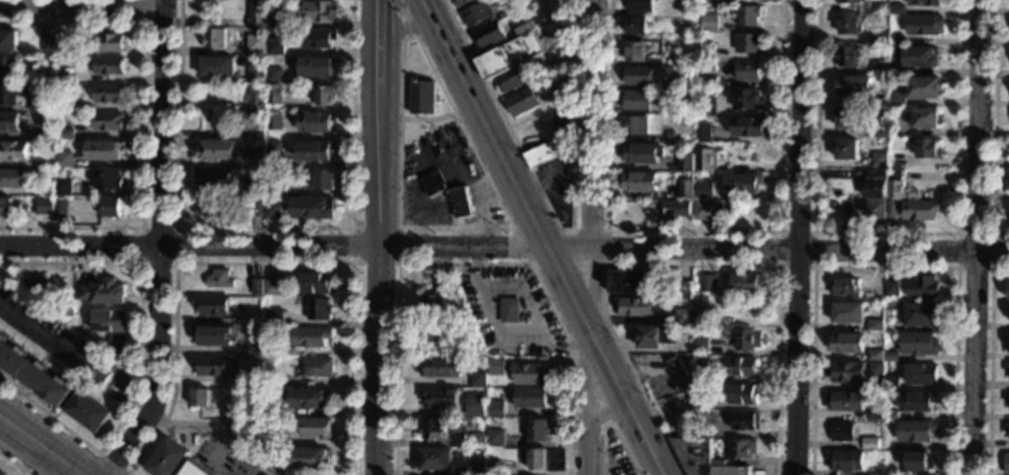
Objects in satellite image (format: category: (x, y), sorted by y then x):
building: (708, 1)
building: (851, 1)
building: (461, 3)
building: (924, 3)
building: (639, 6)
road: (80, 9)
building: (880, 9)
building: (897, 10)
building: (318, 11)
road: (402, 13)
building: (478, 14)
building: (257, 15)
building: (748, 15)
building: (275, 18)
building: (709, 23)
road: (150, 24)
building: (849, 24)
road: (404, 25)
building: (687, 25)
building: (924, 25)
building: (635, 26)
road: (404, 27)
building: (683, 35)
building: (489, 36)
building: (878, 36)
building: (318, 38)
building: (214, 39)
building: (896, 40)
building: (8, 41)
building: (108, 43)
building: (750, 43)
building: (48, 44)
building: (66, 44)
building: (256, 44)
building: (275, 47)
building: (705, 51)
building: (511, 52)
building: (634, 52)
building: (895, 54)
building: (847, 57)
building: (919, 57)
building: (108, 65)
building: (8, 67)
building: (218, 67)
building: (317, 67)
building: (878, 67)
building: (748, 71)
building: (256, 73)
road: (416, 74)
building: (274, 75)
building: (637, 75)
building: (29, 78)
building: (66, 78)
building: (512, 80)
building: (682, 81)
building: (708, 82)
building: (853, 86)
building: (924, 87)
building: (562, 90)
road: (444, 92)
building: (12, 94)
building: (107, 94)
building: (274, 94)
building: (325, 96)
building: (255, 97)
building: (423, 98)
building: (748, 99)
building: (896, 99)
building: (637, 100)
building: (880, 100)
building: (523, 102)
building: (39, 103)
building: (64, 106)
building: (706, 107)
building: (682, 109)
building: (846, 118)
road: (427, 119)
building: (925, 119)
building: (107, 121)
building: (253, 121)
building: (9, 122)
building: (274, 122)
building: (315, 122)
road: (143, 124)
building: (635, 125)
road: (797, 126)
road: (990, 126)
building: (751, 127)
building: (896, 127)
building: (428, 129)
building: (560, 129)
building: (879, 132)
building: (44, 134)
building: (65, 134)
building: (703, 134)
building: (671, 136)
building: (846, 149)
building: (927, 149)
building: (105, 150)
building: (216, 150)
building: (14, 151)
building: (315, 151)
building: (274, 153)
building: (641, 153)
building: (539, 156)
building: (256, 157)
building: (63, 159)
building: (706, 159)
building: (879, 160)
building: (686, 161)
building: (47, 163)
building: (29, 164)
building: (682, 175)
building: (12, 177)
building: (214, 177)
road: (557, 177)
building: (42, 178)
building: (107, 180)
building: (322, 180)
building: (640, 181)
building: (434, 183)
building: (743, 184)
building: (875, 184)
building: (895, 185)
building: (63, 187)
building: (255, 187)
building: (46, 189)
building: (686, 189)
building: (704, 189)
building: (278, 190)
building: (838, 194)
building: (921, 196)
building: (438, 198)
building: (461, 201)
building: (833, 205)
building: (45, 206)
building: (61, 206)
building: (207, 206)
building: (6, 207)
building: (111, 207)
building: (849, 207)
building: (314, 208)
building: (257, 209)
building: (891, 209)
building: (675, 210)
building: (707, 210)
building: (873, 210)
building: (921, 210)
building: (272, 211)
road: (556, 221)
road: (263, 227)
road: (399, 227)
road: (176, 228)
road: (558, 229)
road: (693, 231)
road: (885, 233)
road: (379, 237)
road: (542, 237)
road: (976, 237)
road: (595, 238)
road: (159, 244)
road: (606, 244)
road: (504, 248)
road: (256, 262)
road: (469, 263)
road: (681, 266)
road: (813, 267)
road: (885, 267)
road: (988, 268)
building: (220, 279)
building: (444, 279)
building: (315, 283)
building: (633, 283)
building: (707, 283)
building: (745, 284)
building: (39, 287)
building: (256, 287)
building: (273, 287)
building: (845, 287)
building: (922, 287)
building: (684, 289)
building: (892, 289)
building: (1008, 290)
building: (105, 293)
building: (432, 305)
building: (212, 306)
building: (67, 307)
building: (636, 307)
building: (319, 309)
building: (509, 310)
road: (535, 311)
building: (702, 311)
building: (1008, 312)
building: (849, 313)
building: (919, 315)
building: (274, 317)
building: (682, 317)
building: (110, 321)
building: (875, 325)
building: (212, 335)
building: (434, 335)
road: (39, 337)
building: (310, 337)
building: (654, 337)
building: (746, 339)
building: (117, 342)
building: (1008, 343)
building: (848, 344)
building: (919, 344)
building: (701, 345)
building: (253, 348)
building: (269, 351)
road: (141, 352)
building: (875, 355)
building: (890, 356)
road: (987, 361)
road: (792, 364)
building: (211, 366)
building: (497, 366)
building: (744, 366)
building: (317, 367)
building: (442, 368)
building: (876, 369)
building: (1007, 369)
building: (678, 371)
building: (847, 372)
building: (699, 373)
building: (99, 374)
building: (532, 374)
building: (32, 375)
building: (921, 375)
building: (253, 377)
building: (478, 379)
building: (276, 381)
building: (77, 382)
building: (490, 383)
road: (590, 383)
building: (890, 383)
building: (743, 395)
building: (533, 397)
building: (200, 398)
building: (310, 398)
building: (440, 398)
building: (1007, 398)
building: (844, 401)
building: (917, 401)
building: (699, 402)
building: (1008, 402)
building: (270, 408)
building: (496, 408)
building: (479, 409)
building: (88, 412)
road: (606, 412)
building: (874, 414)
building: (890, 415)
building: (746, 421)
road: (611, 424)
road: (219, 425)
building: (279, 426)
building: (315, 428)
building: (1006, 428)
building: (239, 429)
building: (433, 430)
building: (539, 431)
building: (841, 431)
building: (915, 431)
building: (496, 438)
building: (478, 440)
building: (280, 442)
road: (41, 445)
building: (878, 446)
building: (742, 449)
building: (482, 452)
road: (102, 455)
building: (281, 456)
building: (702, 458)
building: (167, 459)
building: (311, 459)
building: (436, 460)
building: (547, 460)
building: (845, 461)
building: (918, 461)
road: (15, 463)
building: (1007, 465)
building: (476, 468)
building: (494, 468)
building: (194, 470)
building: (887, 472)
building: (874, 473)
building: (0, 474)

